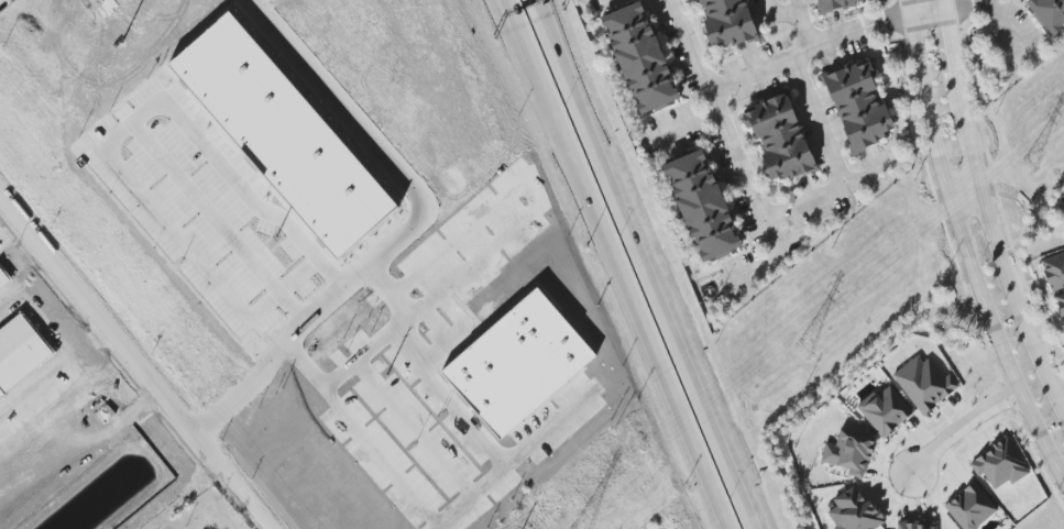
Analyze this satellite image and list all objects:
building: (838, 3)
road: (942, 4)
road: (961, 4)
building: (314, 8)
road: (906, 8)
road: (536, 9)
road: (537, 9)
road: (776, 12)
road: (925, 12)
road: (509, 13)
building: (1049, 13)
building: (727, 22)
road: (800, 24)
road: (1013, 29)
road: (808, 47)
building: (639, 57)
road: (338, 102)
building: (858, 106)
road: (152, 117)
road: (815, 121)
road: (682, 128)
road: (727, 129)
building: (286, 134)
building: (778, 137)
power tower: (1032, 162)
road: (827, 192)
road: (962, 192)
building: (701, 205)
road: (985, 217)
road: (965, 256)
road: (617, 264)
building: (1054, 271)
road: (646, 273)
building: (3, 278)
building: (1060, 305)
road: (306, 318)
power tower: (808, 348)
building: (20, 352)
road: (372, 357)
building: (529, 361)
road: (133, 362)
building: (924, 384)
building: (885, 410)
road: (957, 422)
building: (48, 427)
building: (849, 452)
building: (999, 464)
road: (473, 502)
building: (970, 507)
building: (853, 511)
building: (917, 526)

